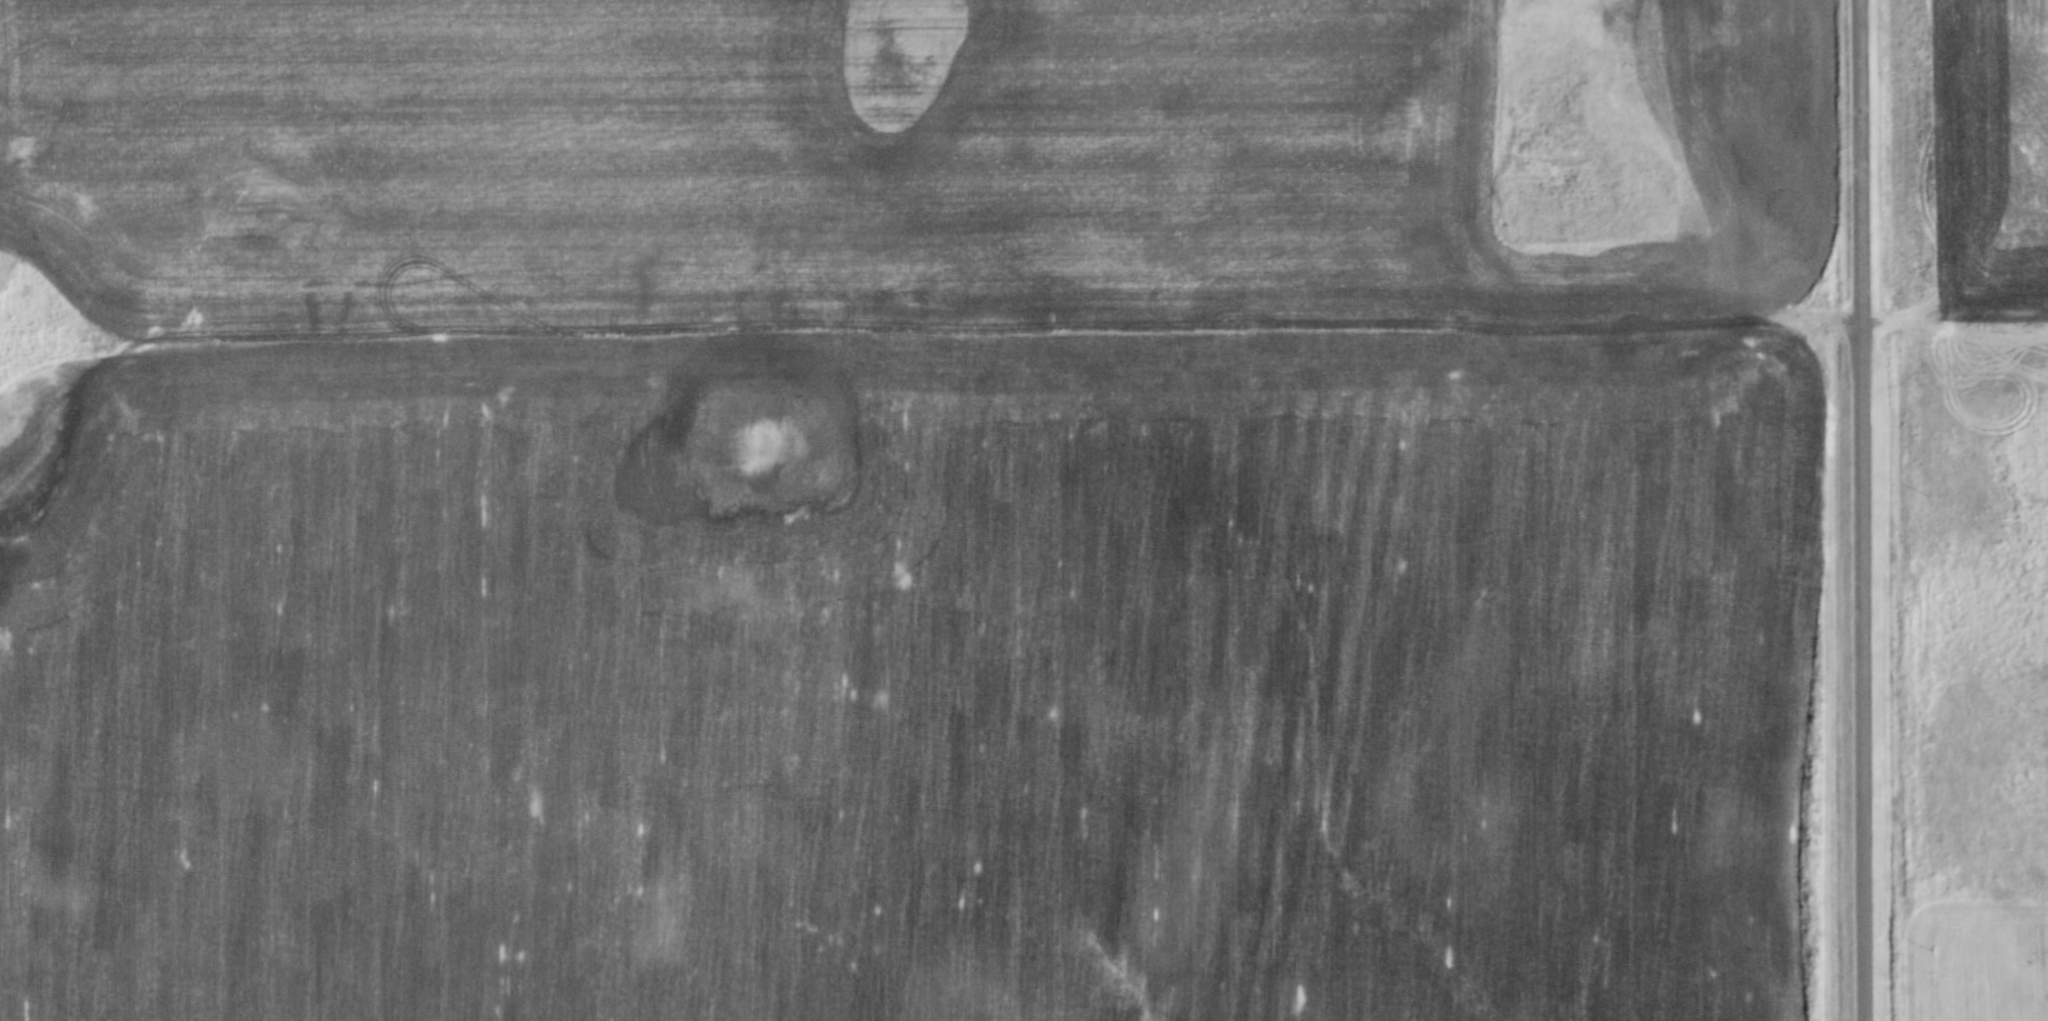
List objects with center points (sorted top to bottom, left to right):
road: (1862, 510)

